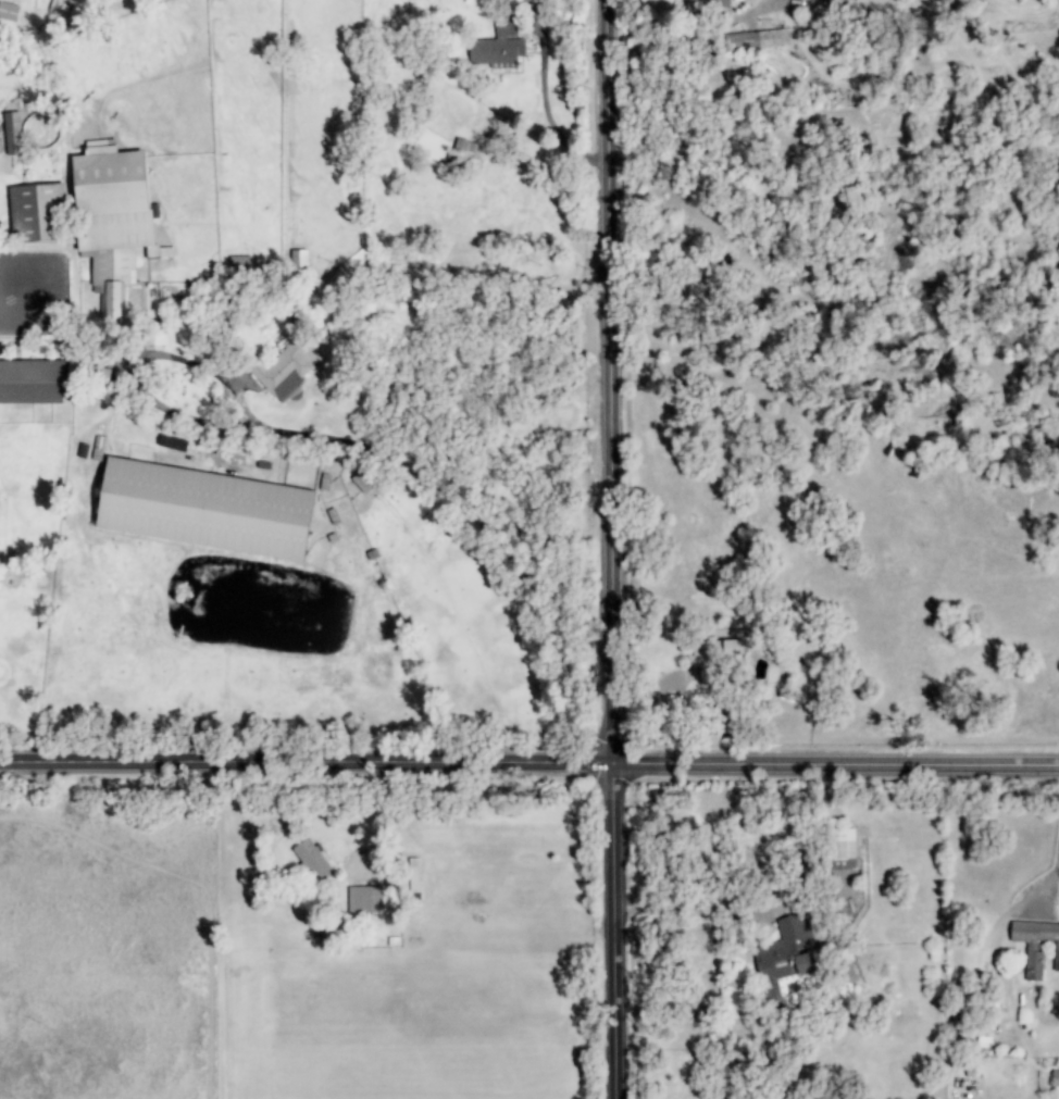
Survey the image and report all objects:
building: (830, 2)
building: (707, 4)
building: (60, 9)
building: (756, 39)
building: (498, 46)
building: (12, 134)
road: (835, 142)
building: (463, 145)
building: (36, 212)
building: (113, 223)
building: (298, 260)
building: (239, 264)
building: (327, 283)
building: (154, 333)
building: (283, 370)
building: (88, 372)
building: (32, 382)
road: (335, 439)
building: (362, 482)
building: (204, 509)
road: (613, 549)
building: (713, 655)
road: (600, 745)
road: (308, 763)
road: (837, 764)
building: (840, 849)
building: (311, 860)
building: (411, 875)
road: (1056, 879)
building: (364, 899)
road: (708, 912)
building: (1035, 946)
building: (785, 962)
building: (1055, 1078)

